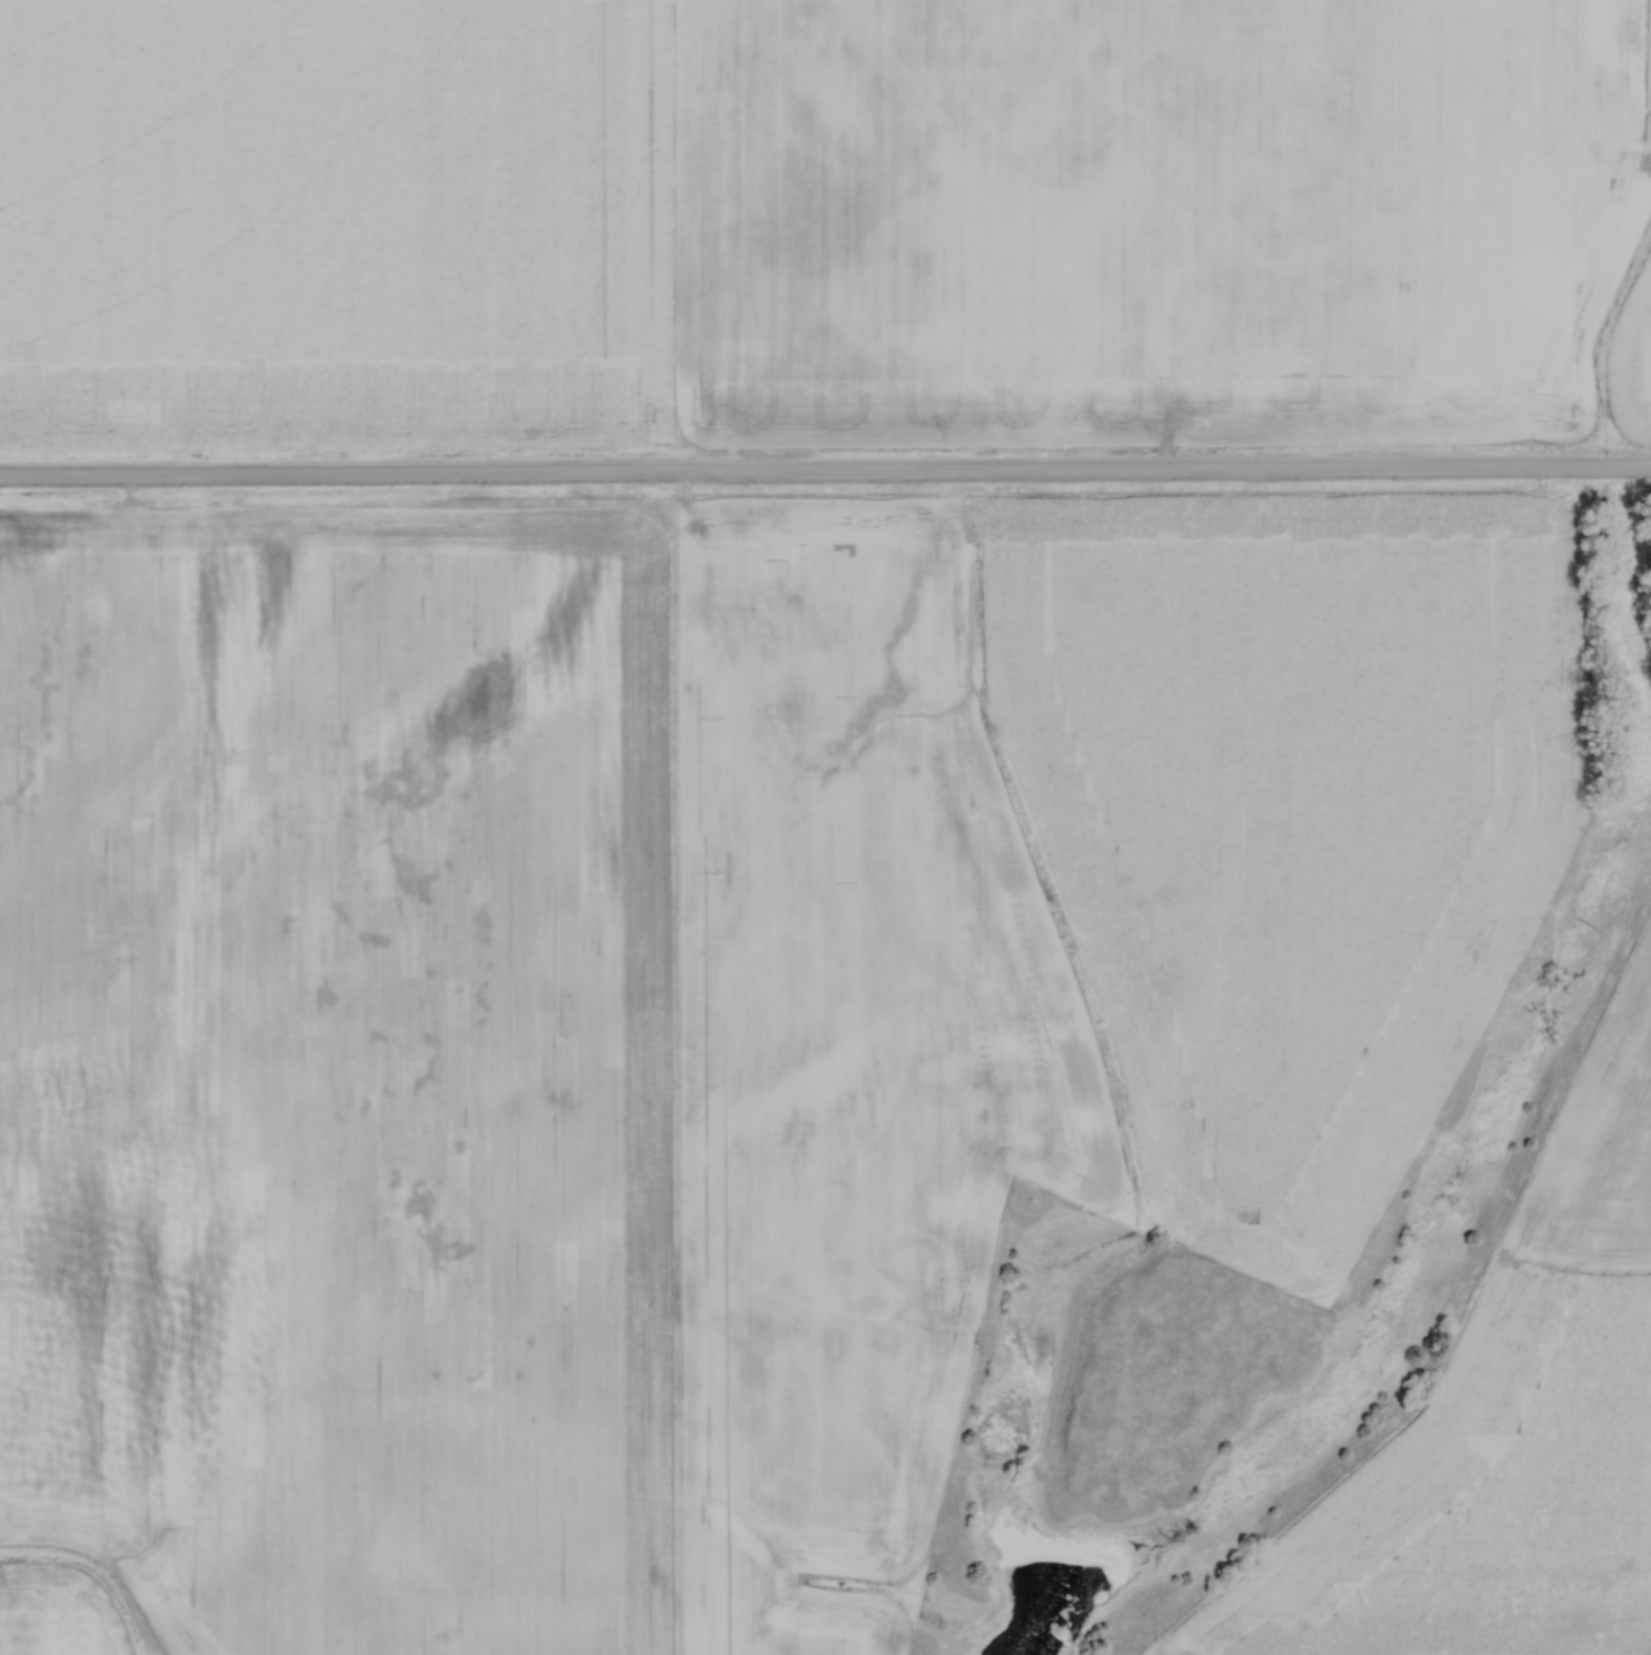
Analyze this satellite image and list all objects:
road: (825, 478)

